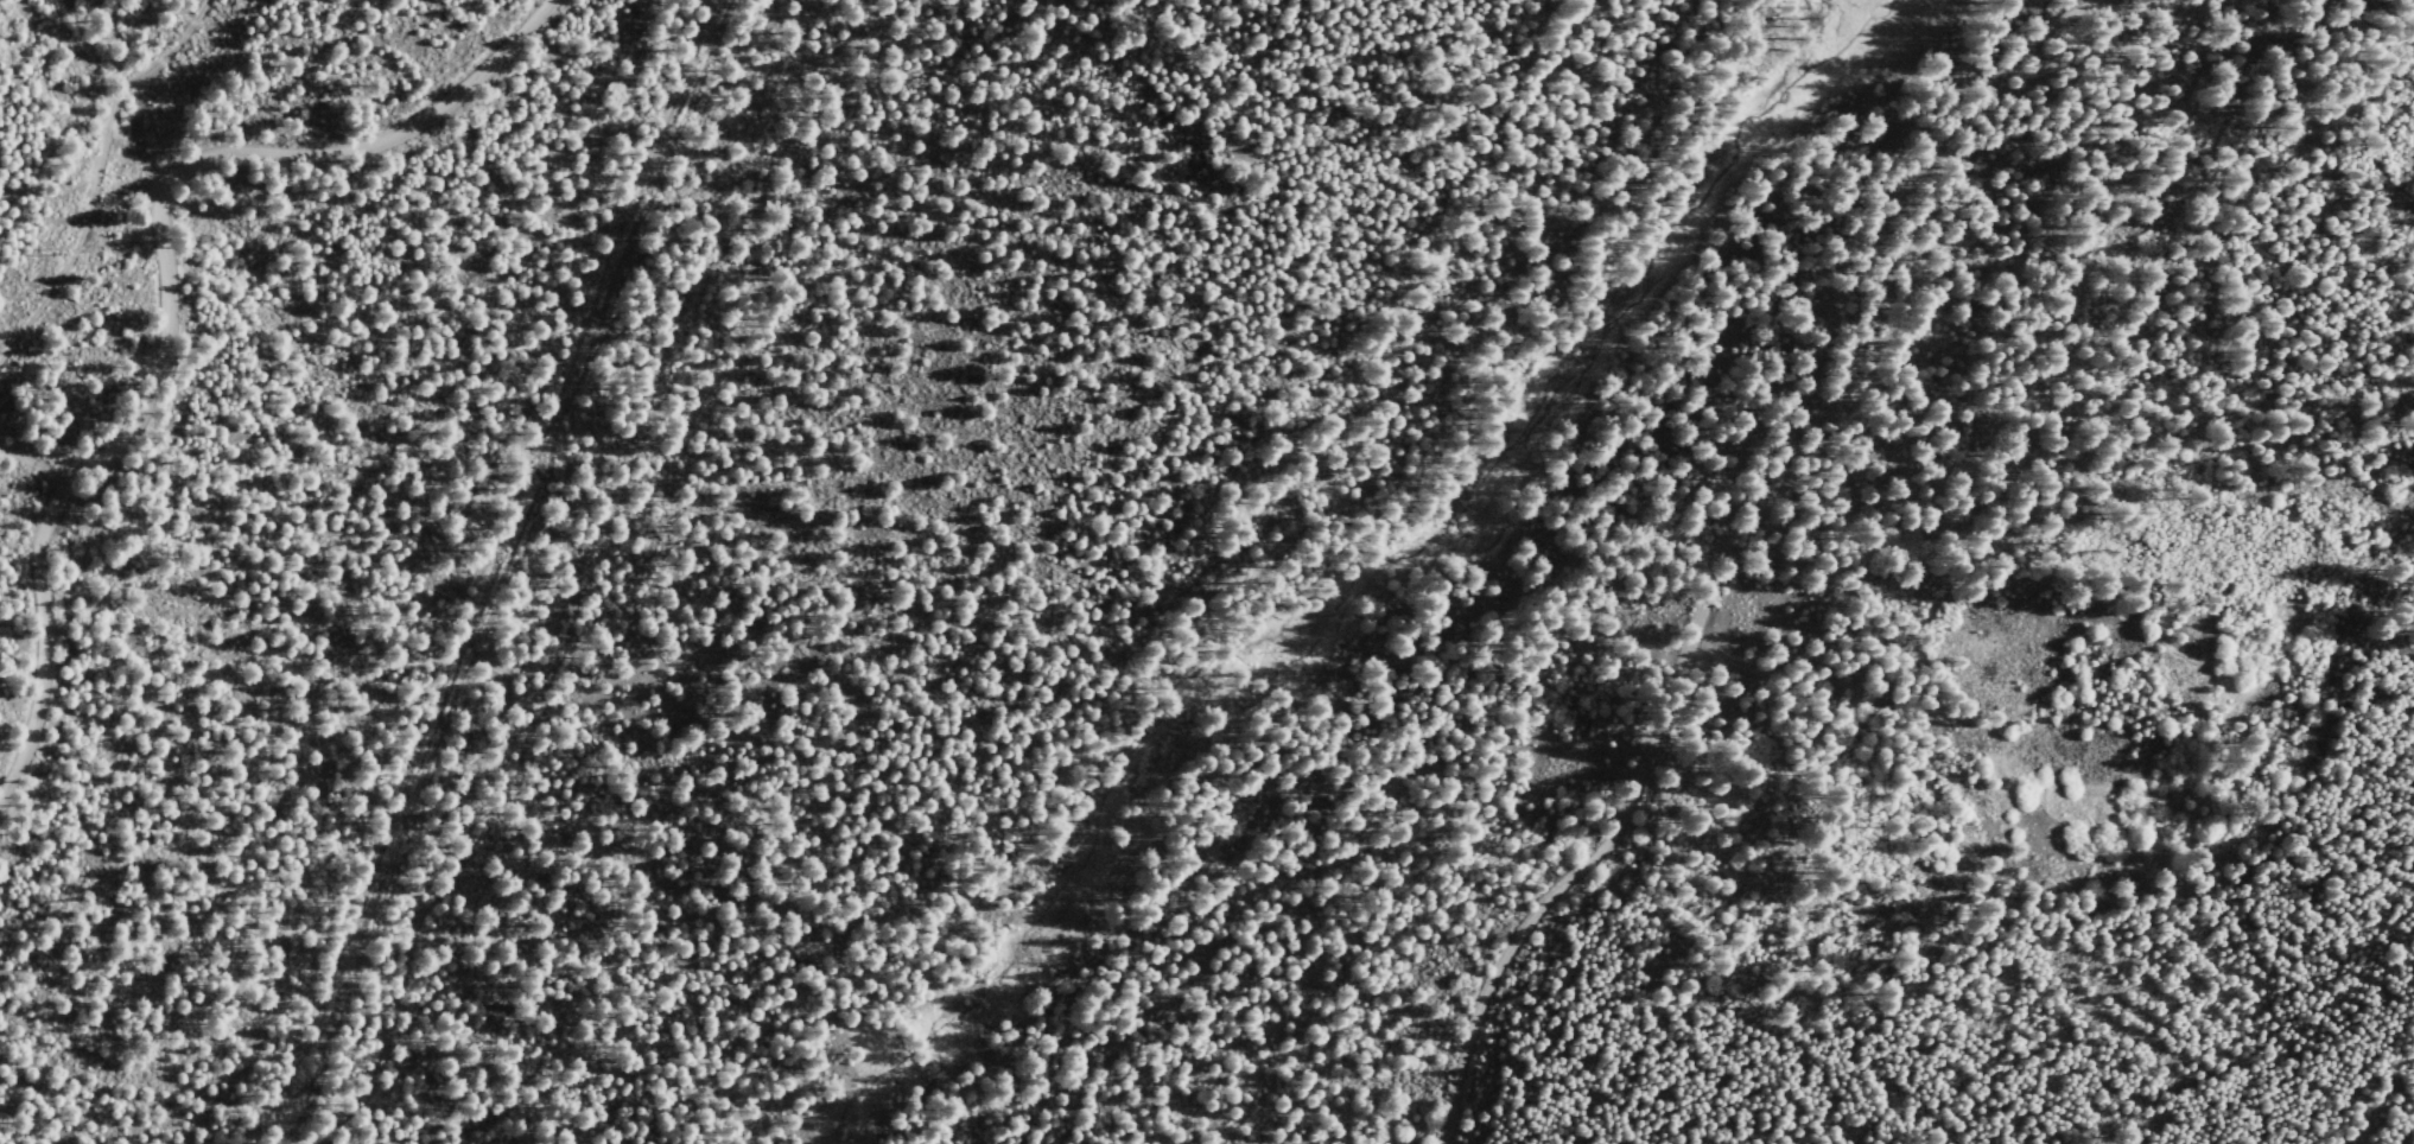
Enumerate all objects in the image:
road: (91, 171)
power tower: (57, 252)
road: (169, 293)
road: (38, 459)
road: (1728, 545)

